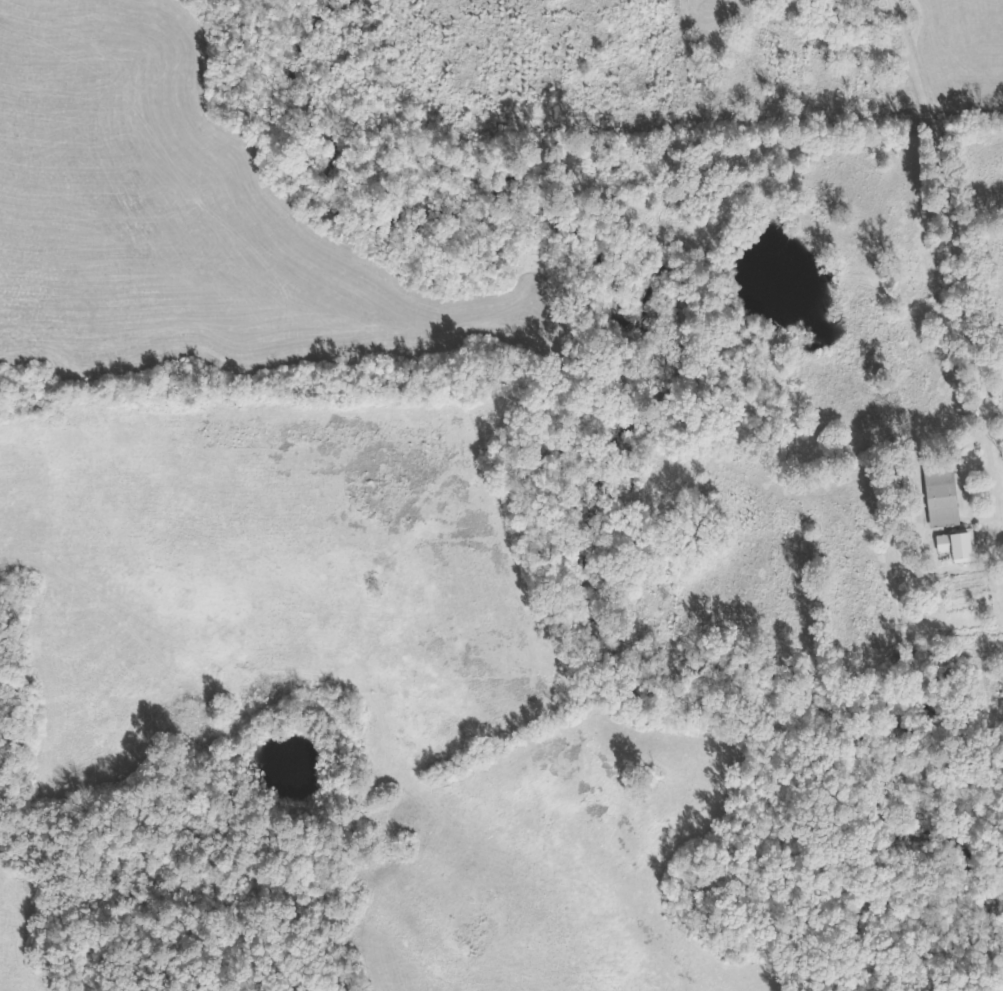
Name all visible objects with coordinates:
building: (858, 21)
building: (939, 497)
building: (954, 545)
building: (1000, 676)

